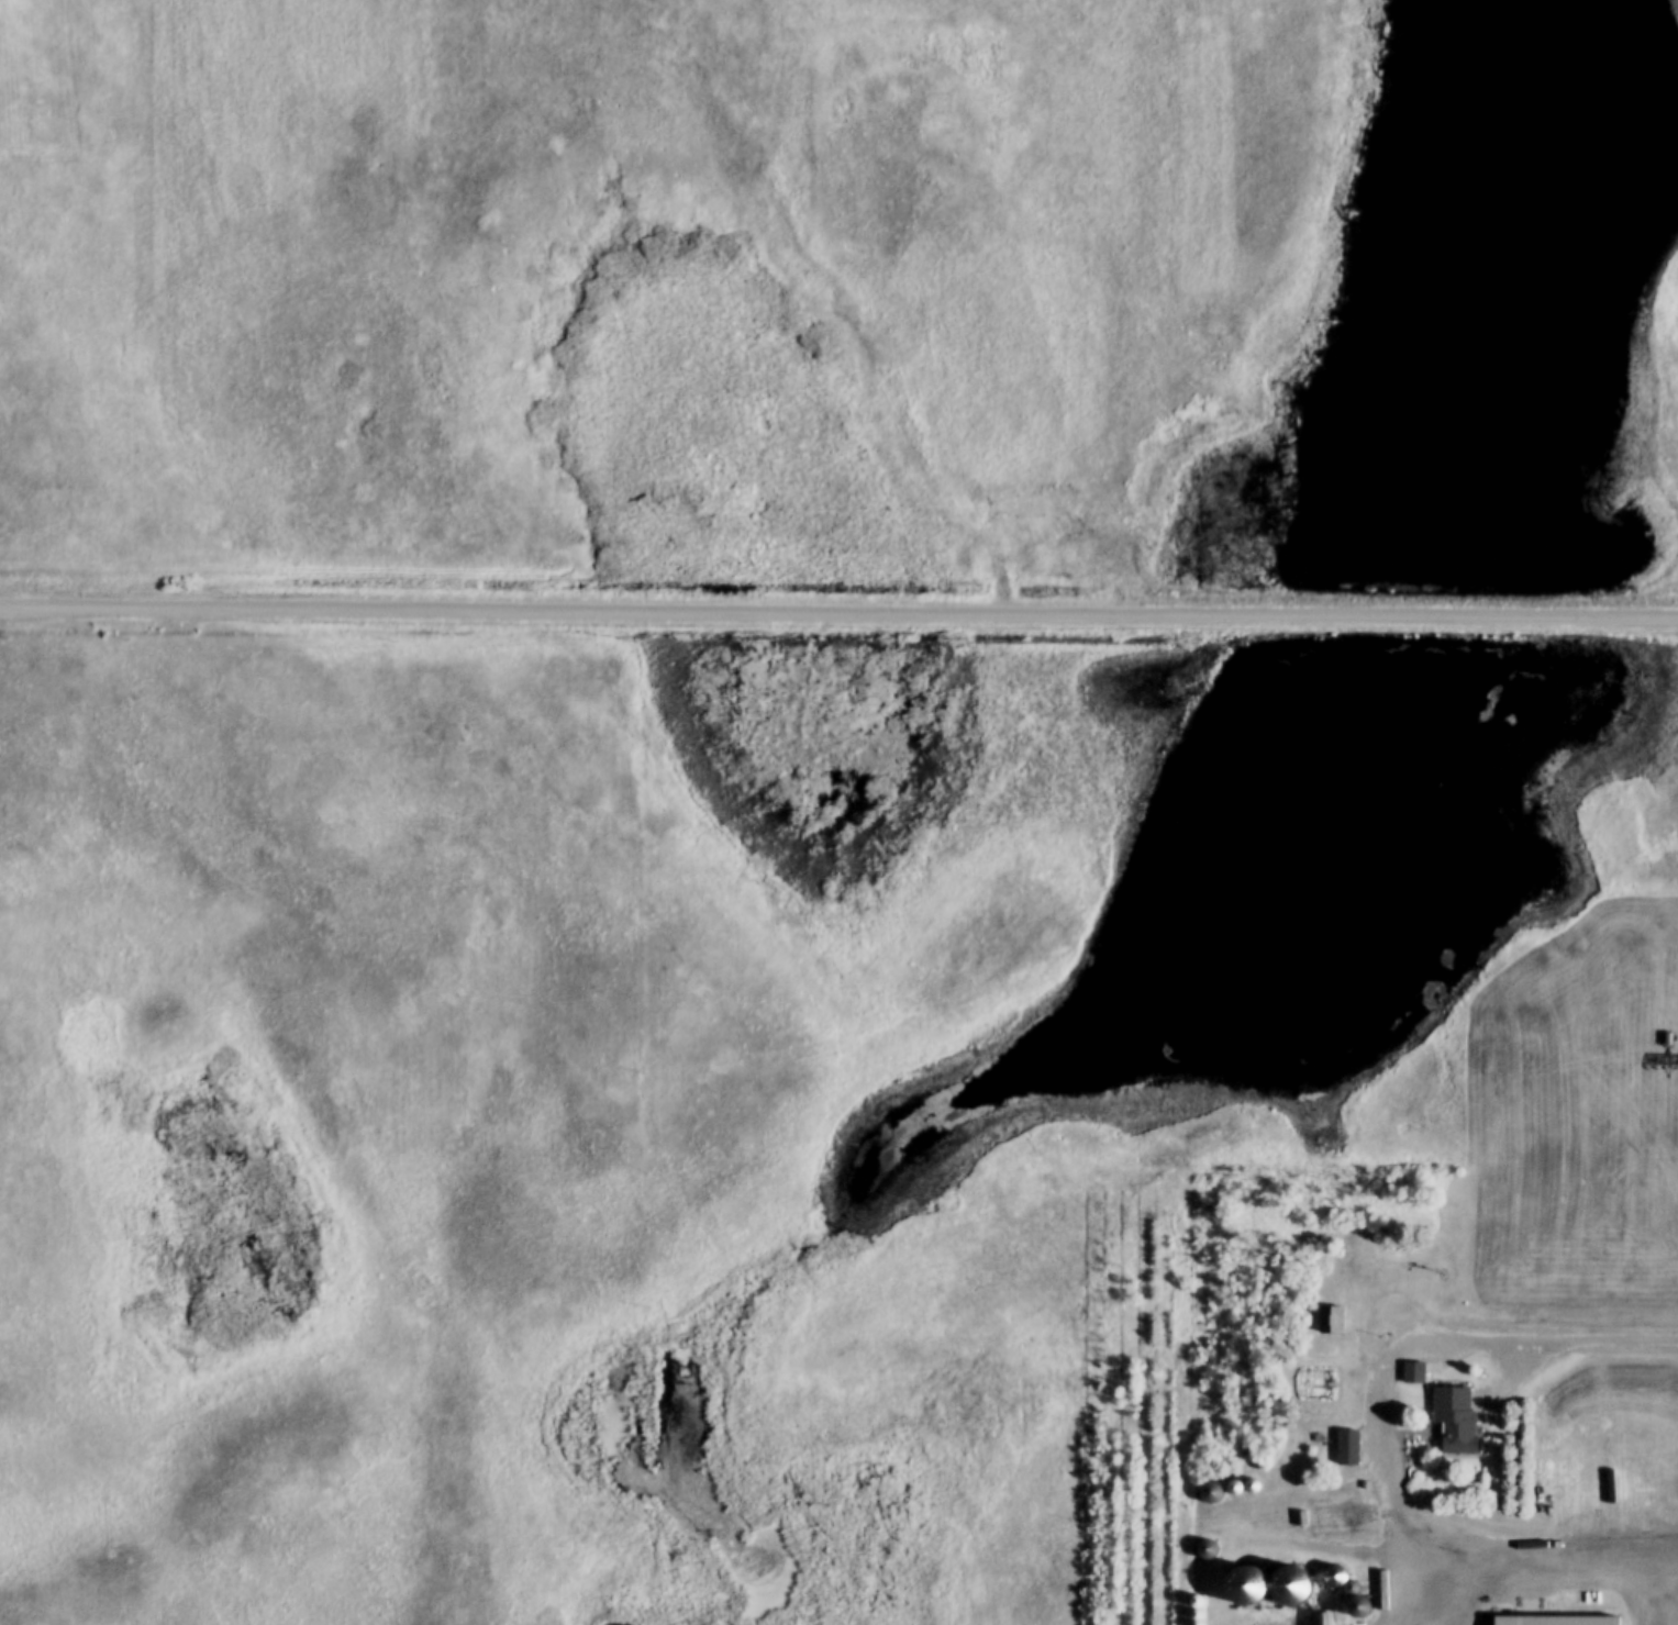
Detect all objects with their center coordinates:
road: (838, 612)
building: (1509, 1069)
building: (1332, 1321)
road: (1582, 1339)
building: (1336, 1380)
road: (1375, 1401)
building: (1452, 1420)
road: (1552, 1566)
building: (1555, 1621)

